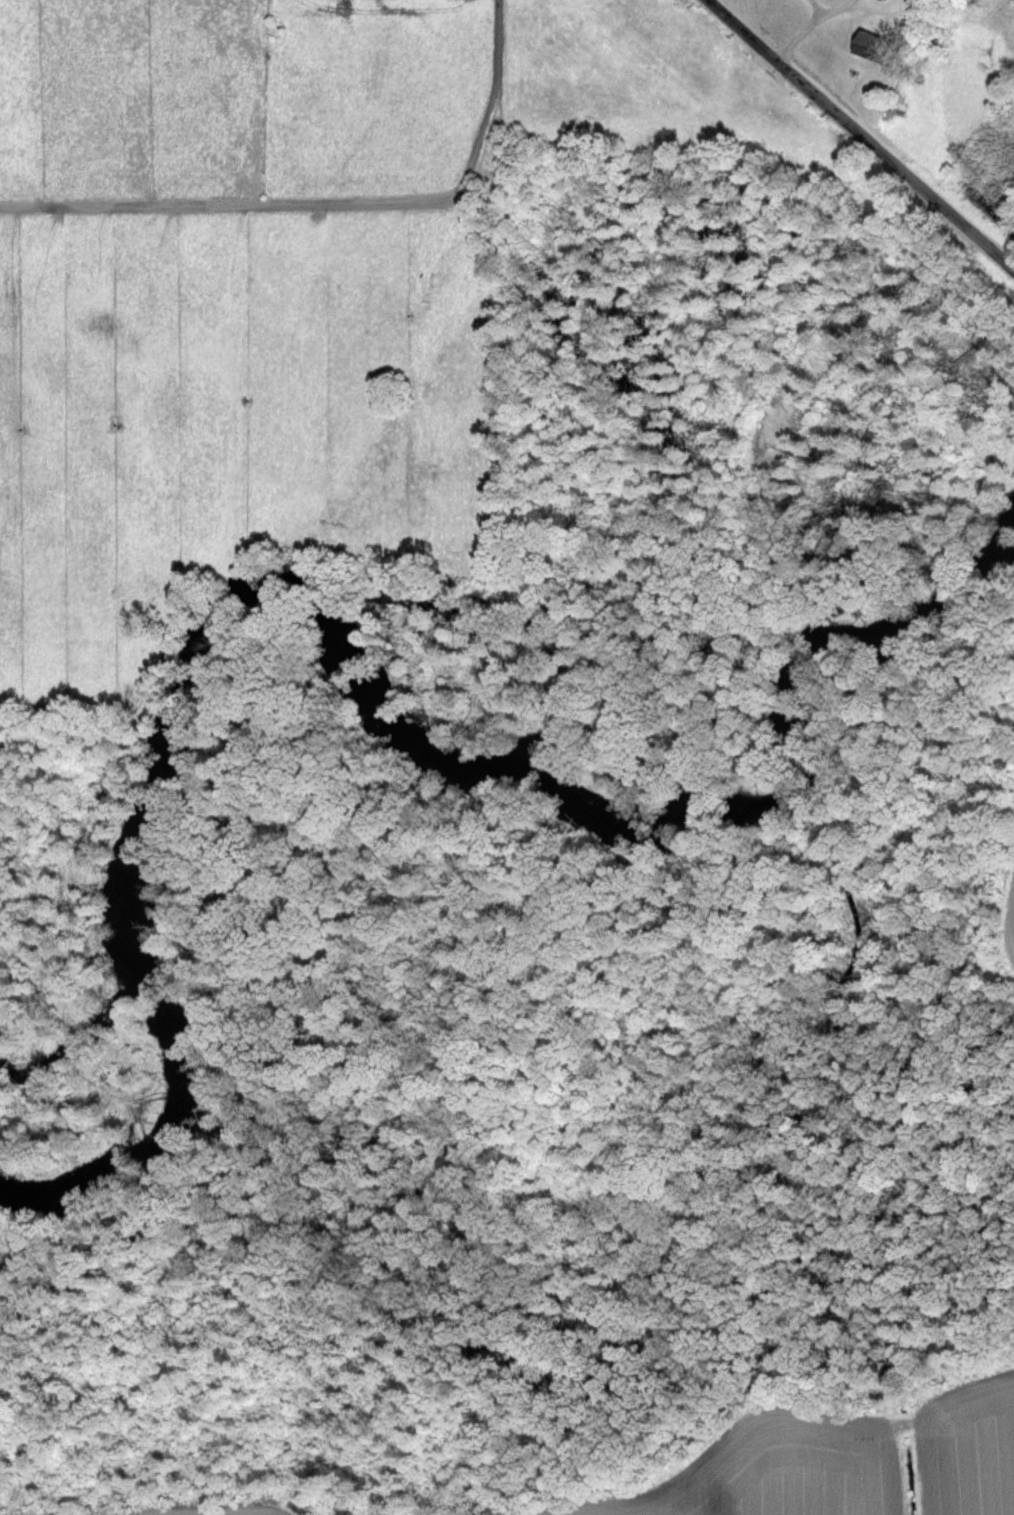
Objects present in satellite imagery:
road: (809, 24)
building: (863, 43)
road: (859, 132)
river: (411, 755)

